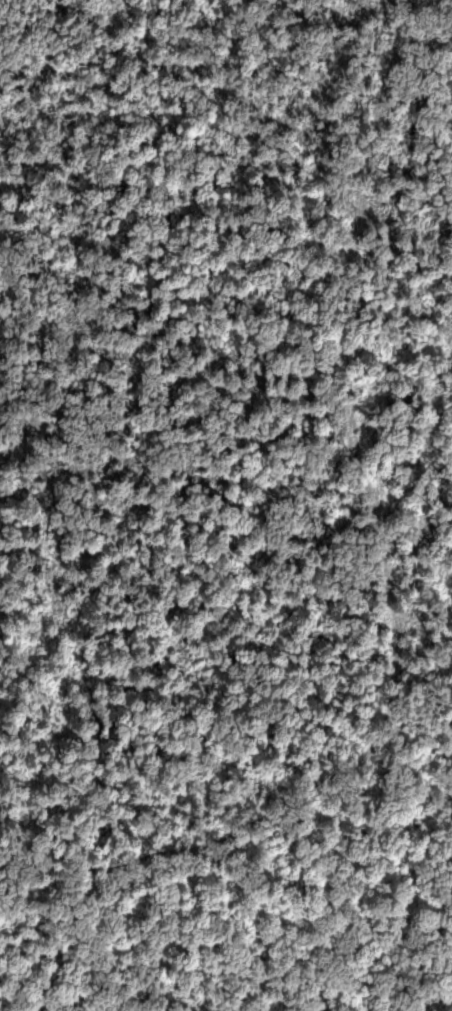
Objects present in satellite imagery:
road: (227, 890)

